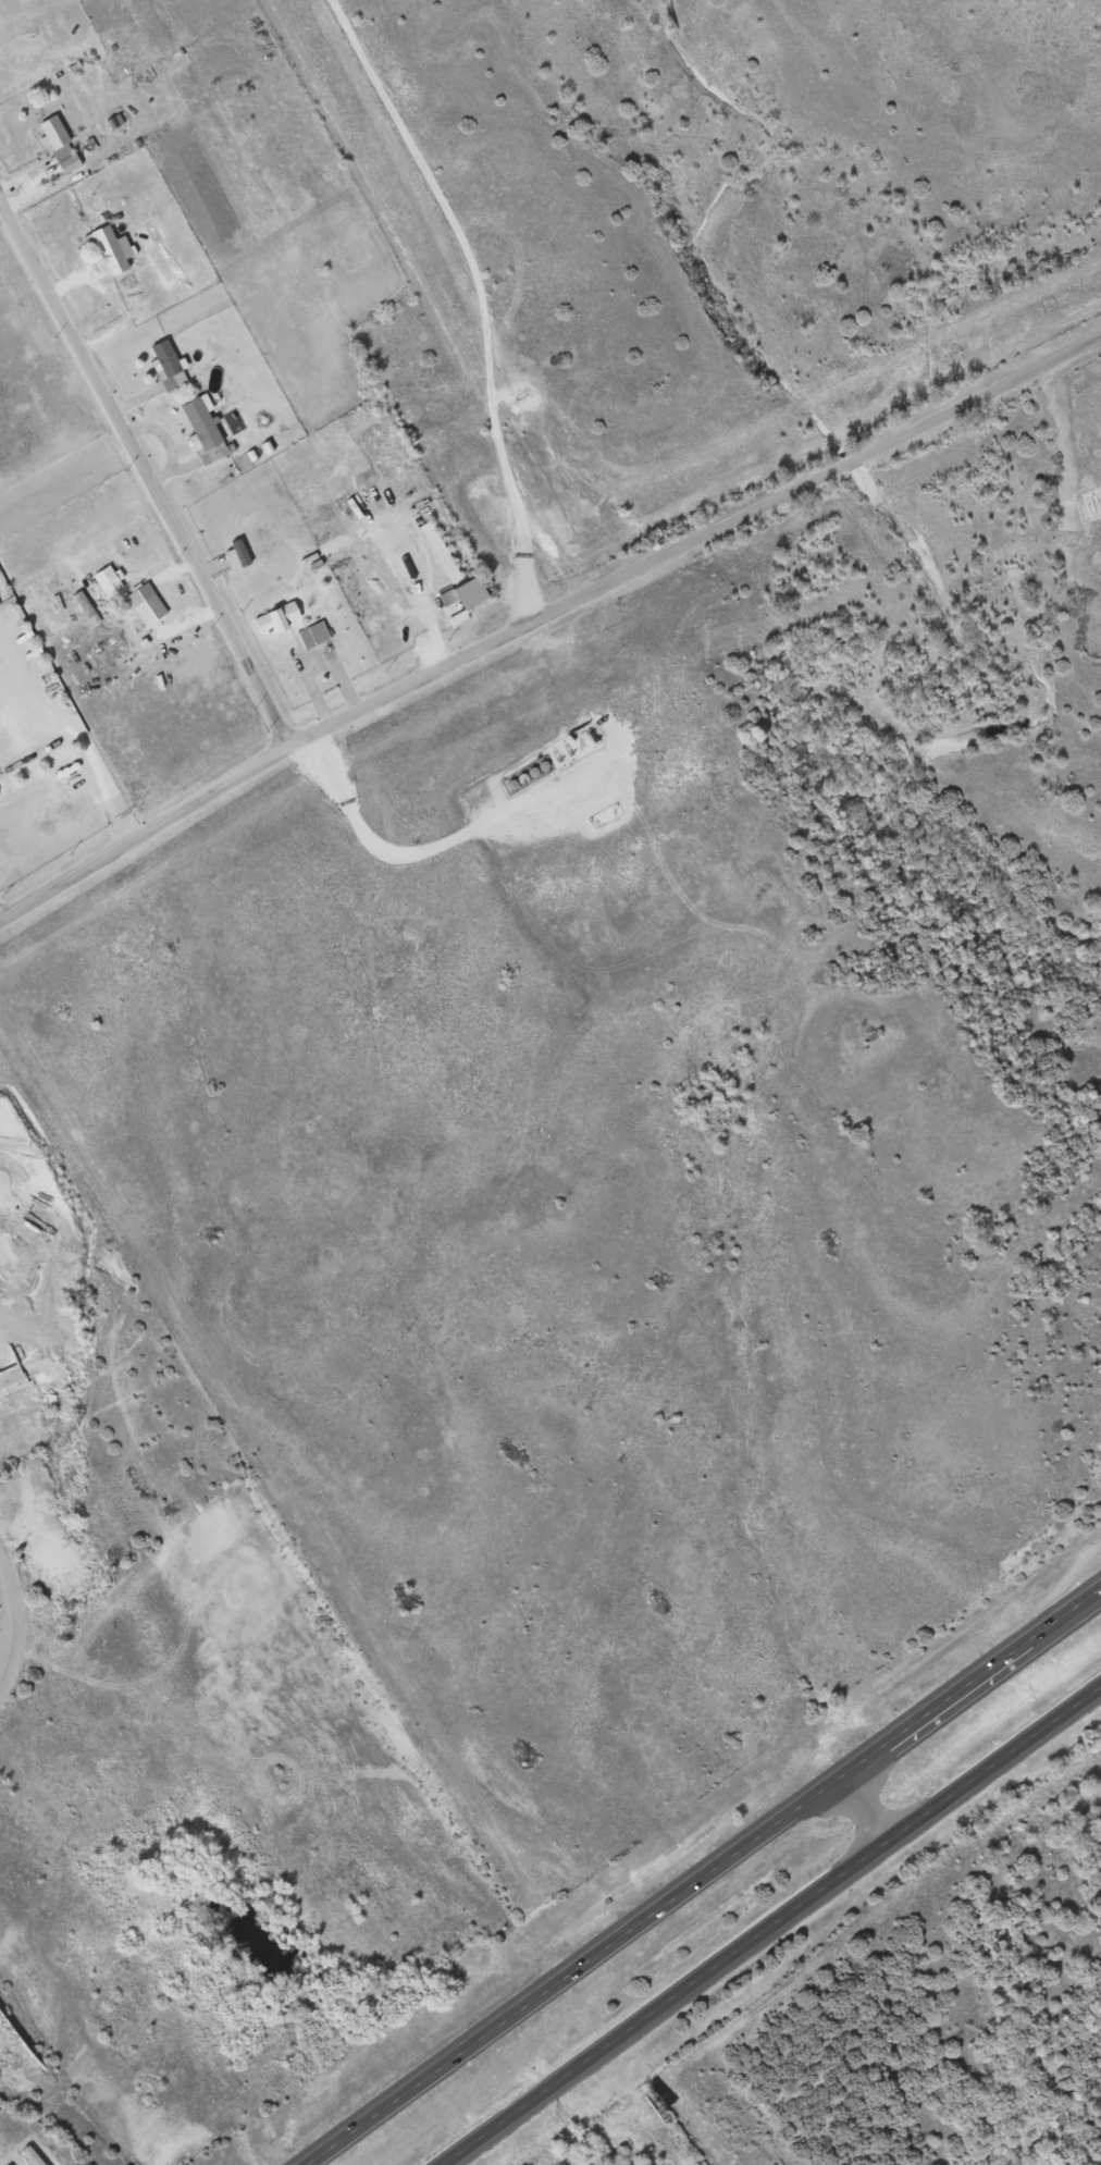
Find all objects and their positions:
building: (64, 146)
road: (1032, 162)
building: (114, 251)
road: (483, 292)
building: (172, 367)
building: (208, 431)
road: (62, 478)
road: (144, 478)
building: (444, 554)
building: (112, 582)
building: (475, 593)
building: (144, 596)
road: (544, 612)
building: (288, 625)
building: (318, 636)
road: (314, 692)
road: (85, 747)
road: (367, 833)
road: (0, 913)
road: (17, 1621)
road: (212, 1745)
road: (862, 1808)
road: (703, 1873)
road: (772, 1926)
road: (52, 2123)

